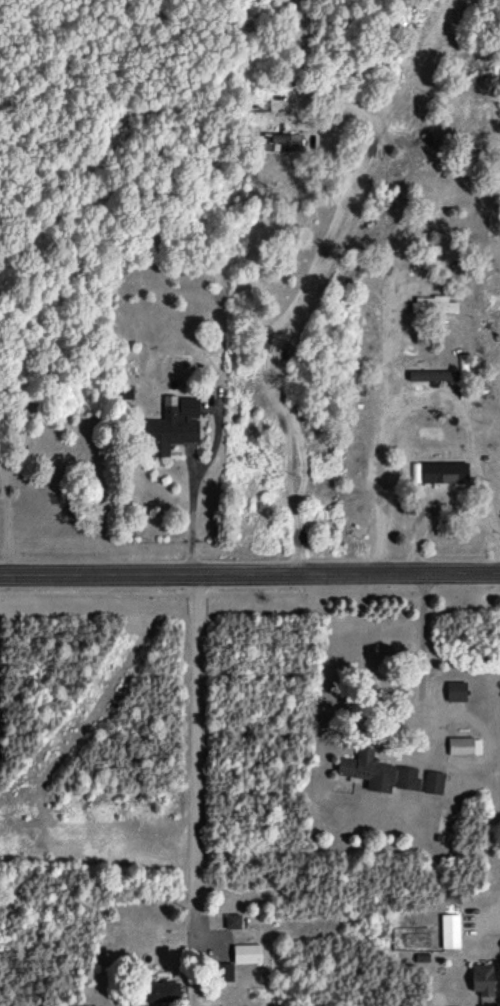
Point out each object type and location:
building: (280, 140)
road: (319, 263)
building: (432, 304)
building: (429, 375)
road: (416, 403)
building: (171, 425)
road: (196, 517)
road: (249, 573)
road: (427, 660)
building: (454, 690)
building: (462, 745)
road: (194, 755)
building: (365, 768)
building: (405, 777)
building: (432, 781)
road: (493, 913)
building: (231, 920)
building: (448, 930)
building: (245, 952)
building: (222, 971)
building: (481, 978)
building: (160, 991)

